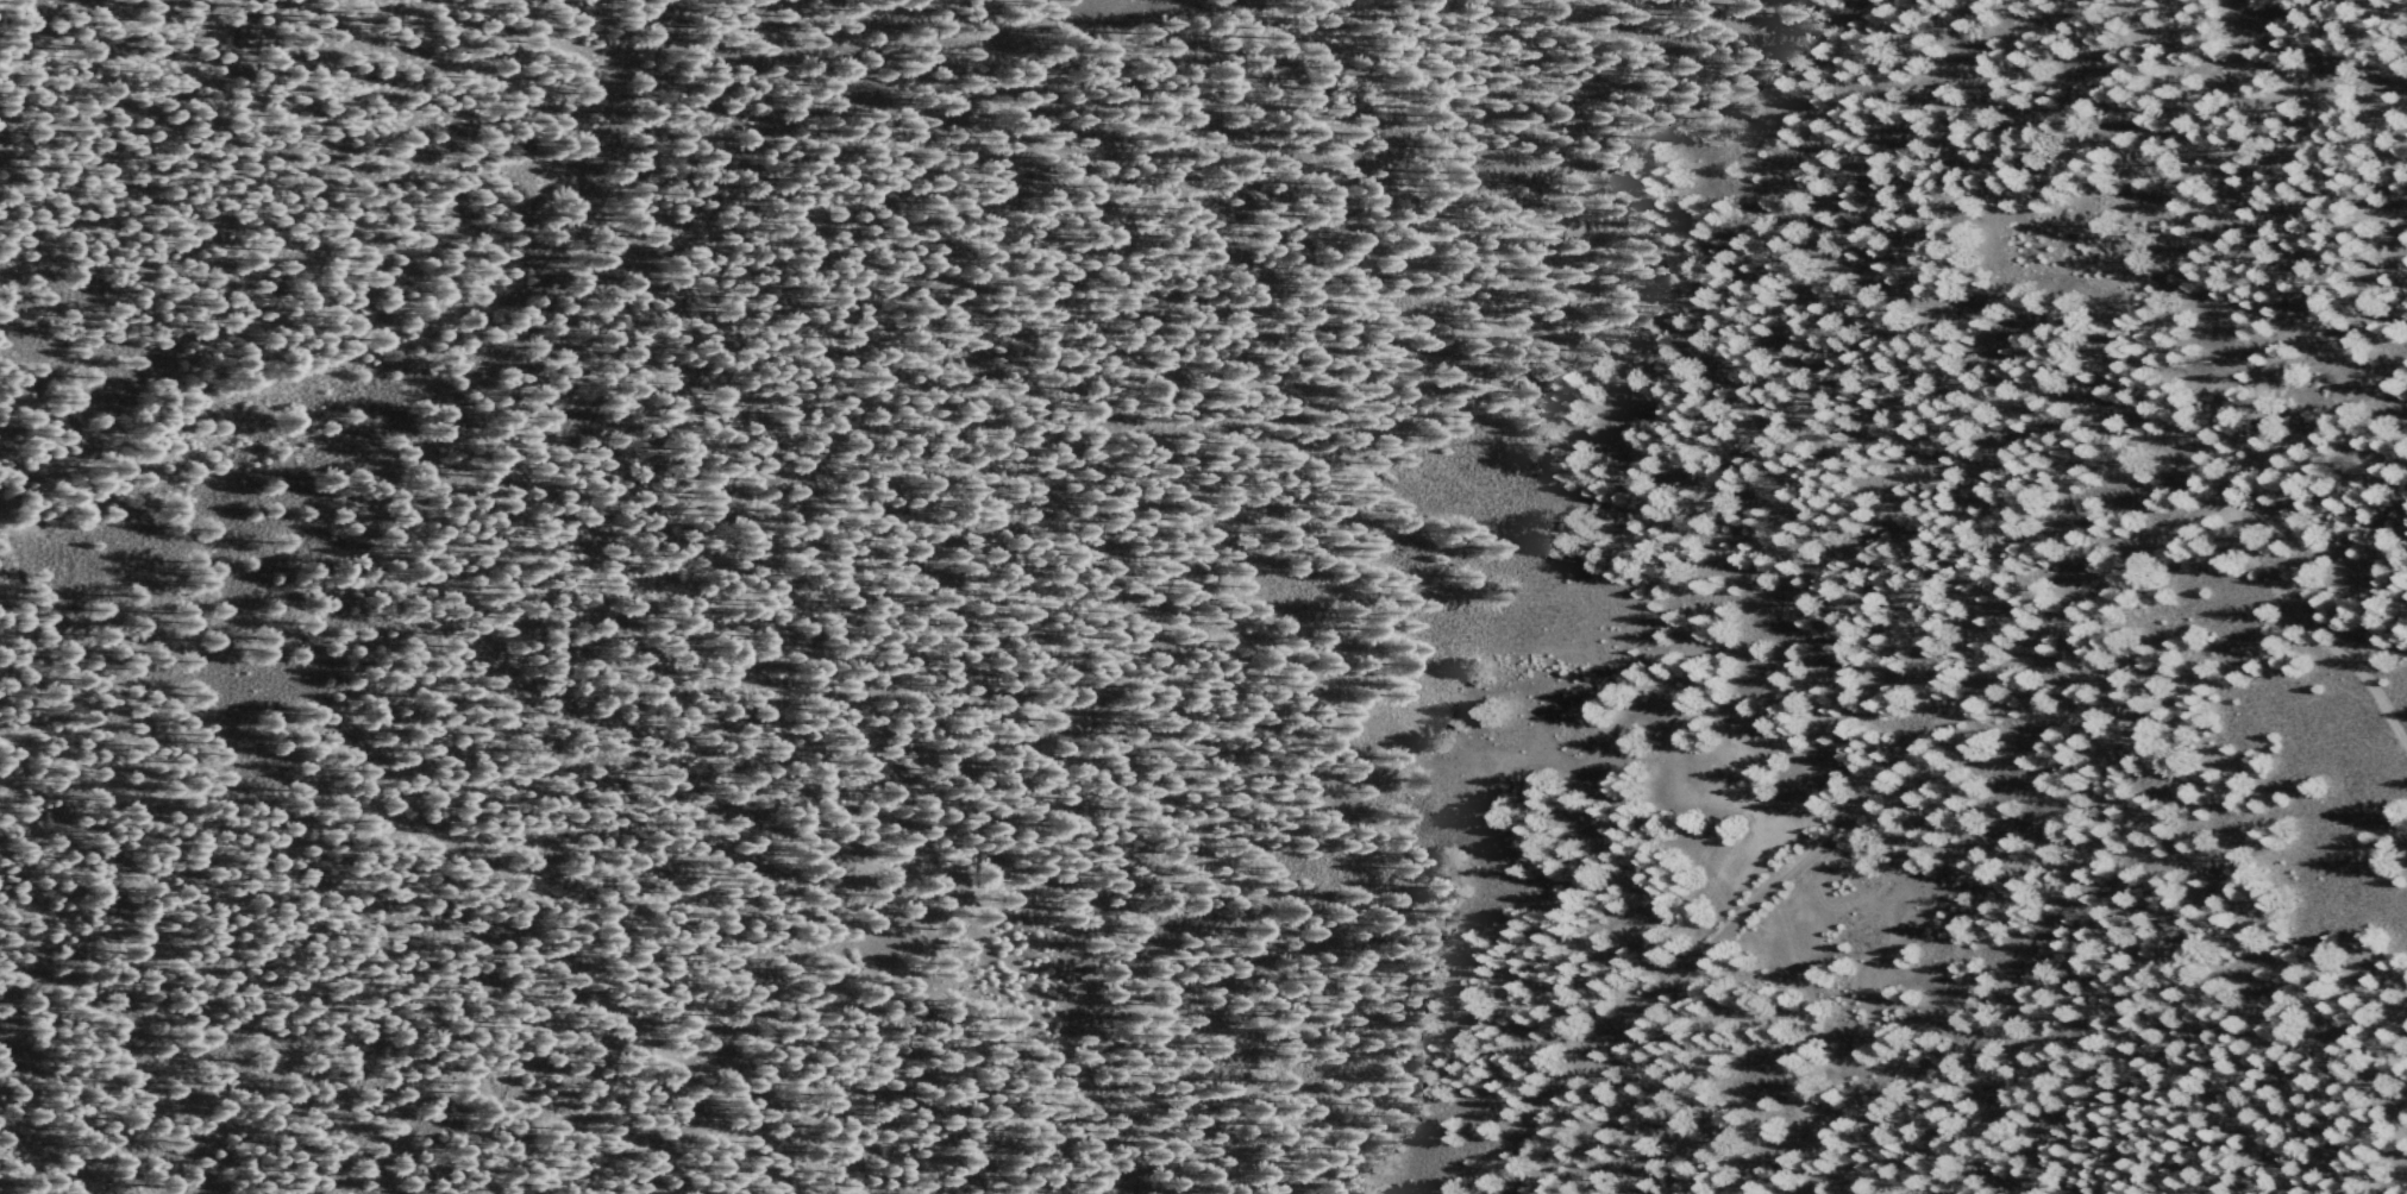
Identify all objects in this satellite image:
road: (2309, 627)
road: (1983, 687)
road: (1524, 1121)

